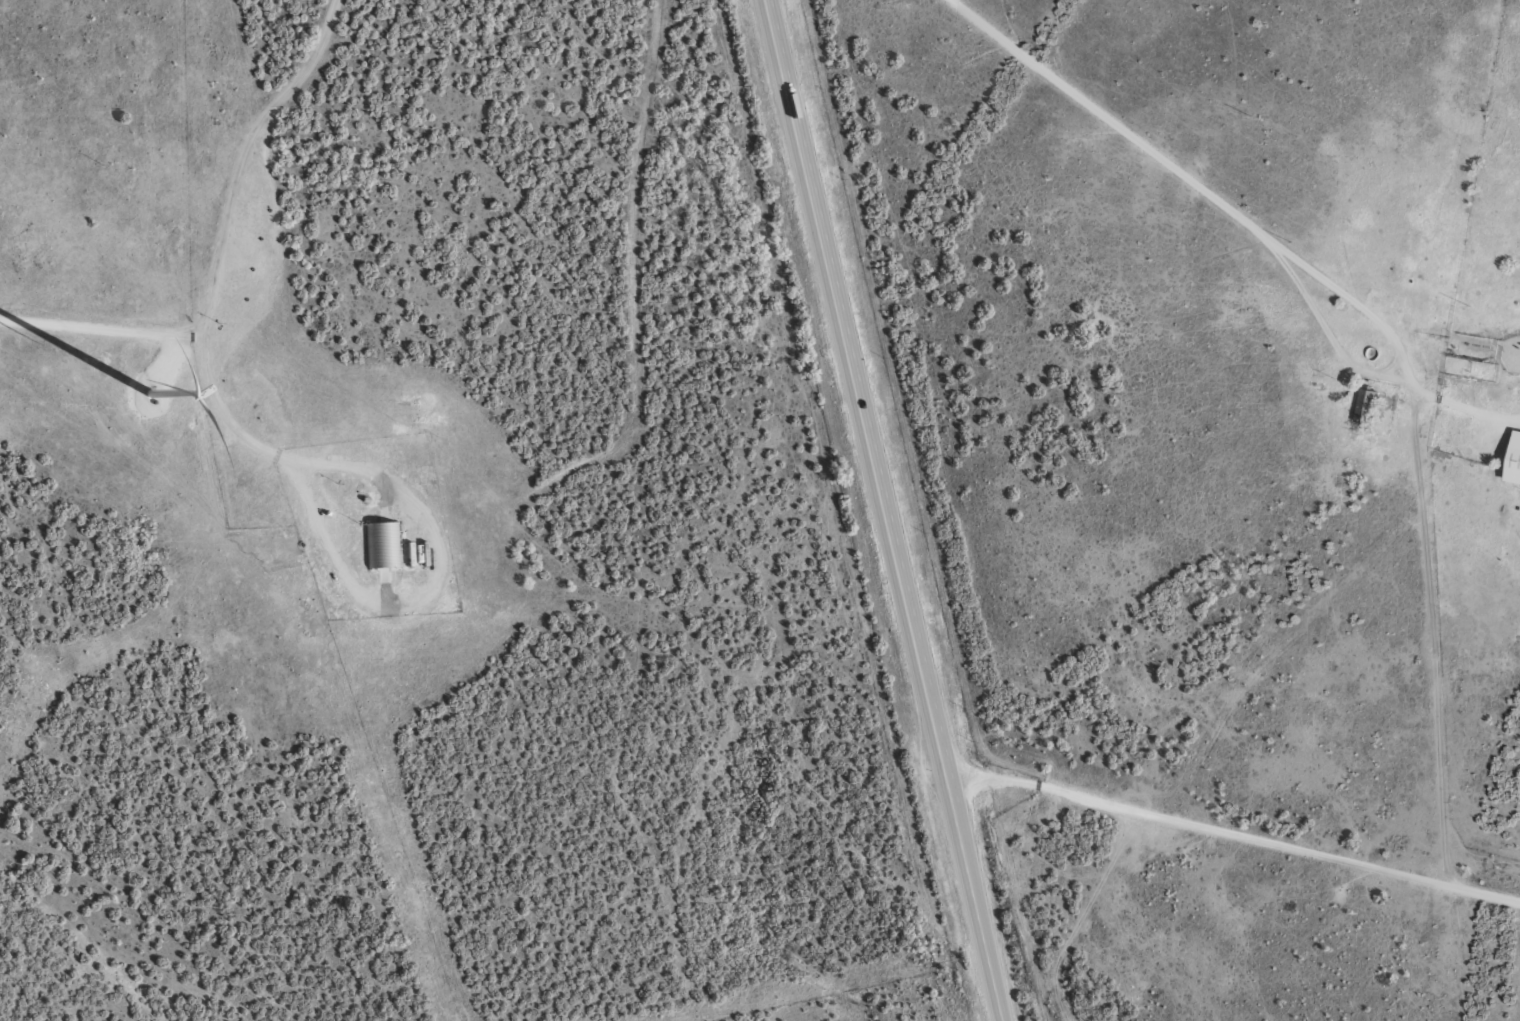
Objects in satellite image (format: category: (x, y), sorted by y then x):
road: (1239, 217)
road: (220, 232)
road: (100, 328)
wind turbine: (163, 386)
building: (1367, 403)
road: (1517, 418)
building: (1514, 459)
road: (737, 509)
road: (882, 510)
road: (431, 586)
road: (1231, 831)

